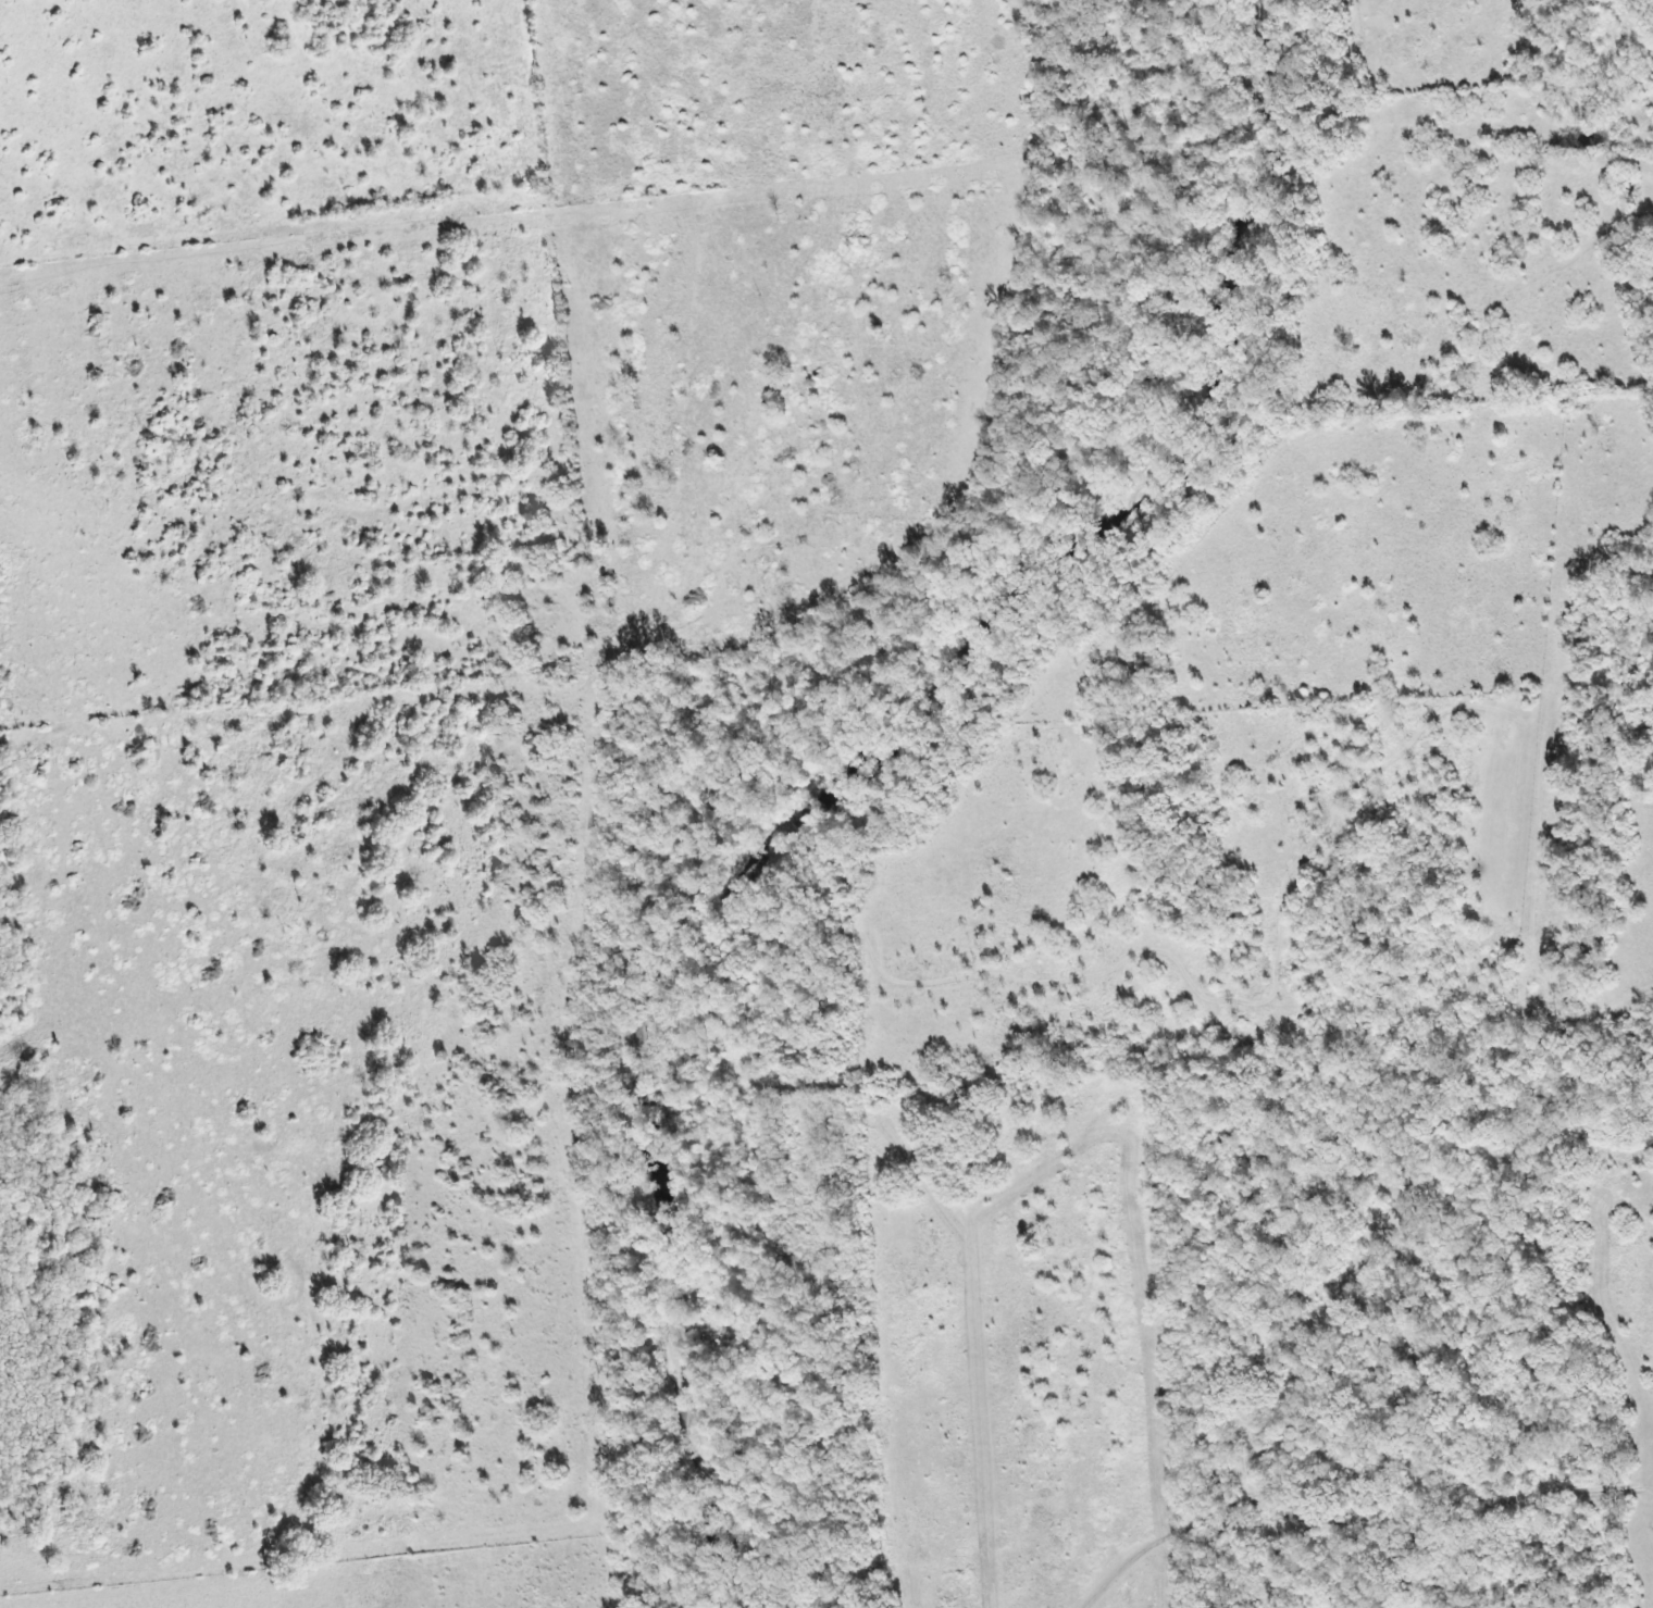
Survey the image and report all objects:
road: (271, 252)

